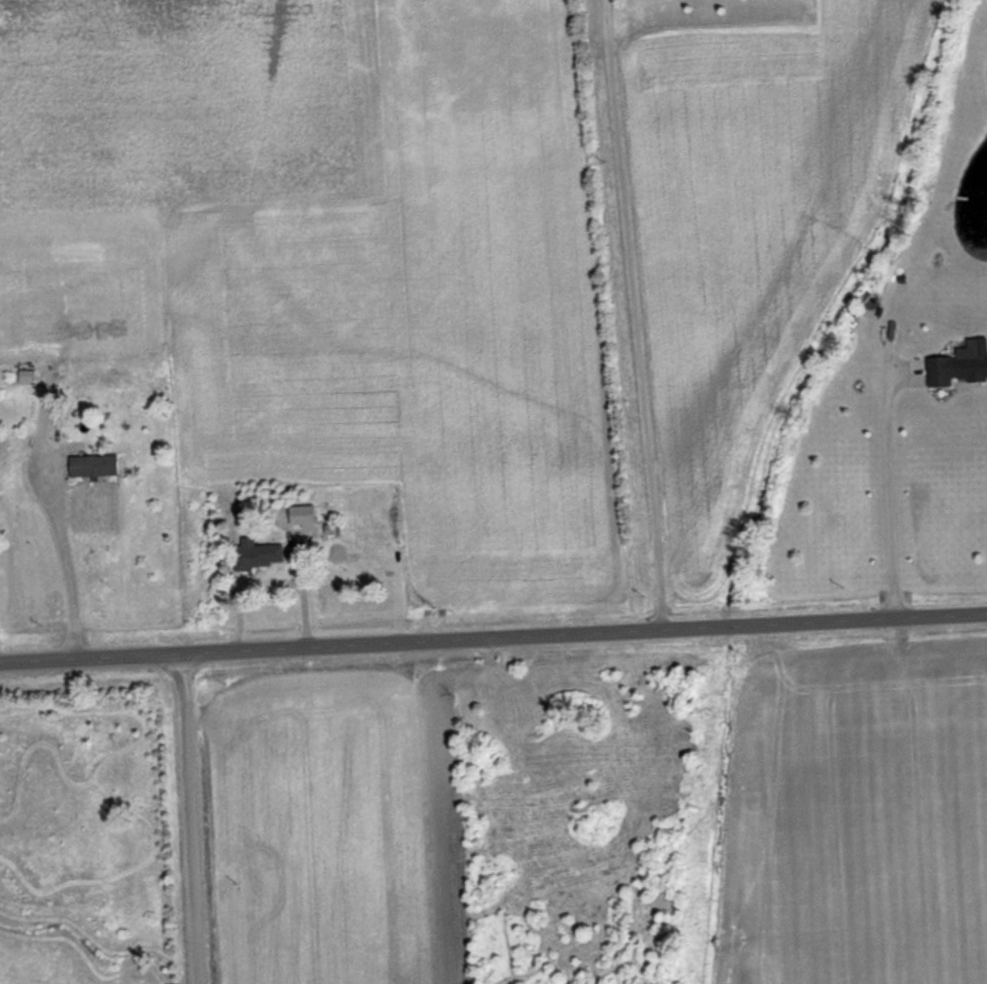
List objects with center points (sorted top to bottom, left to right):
building: (960, 368)
building: (98, 466)
building: (264, 556)
road: (855, 624)
road: (362, 650)
road: (188, 822)

